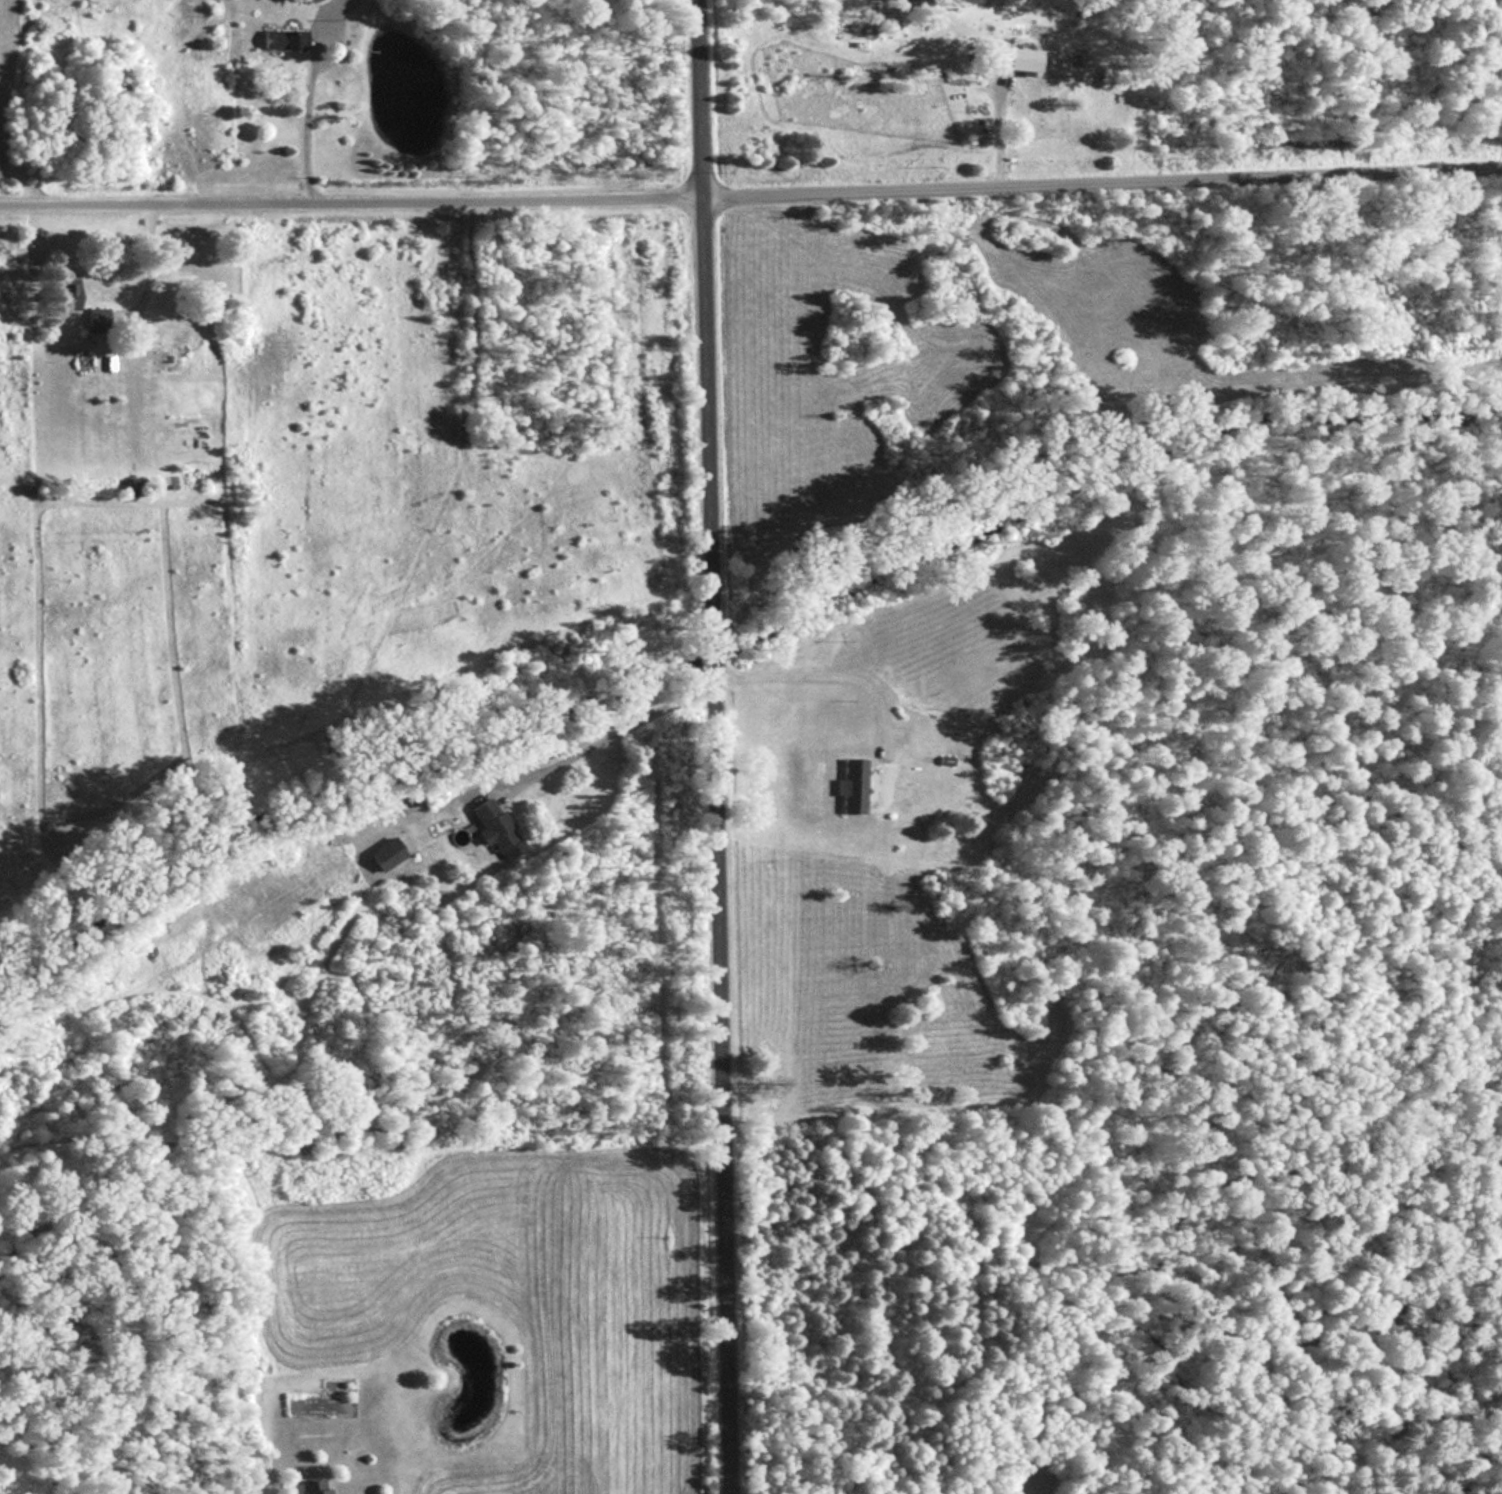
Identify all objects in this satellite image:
building: (899, 4)
building: (281, 40)
building: (1014, 59)
road: (751, 200)
building: (62, 293)
building: (95, 317)
road: (821, 674)
road: (605, 734)
road: (712, 747)
building: (849, 785)
building: (493, 827)
building: (384, 853)
building: (311, 1487)
building: (1470, 1490)

